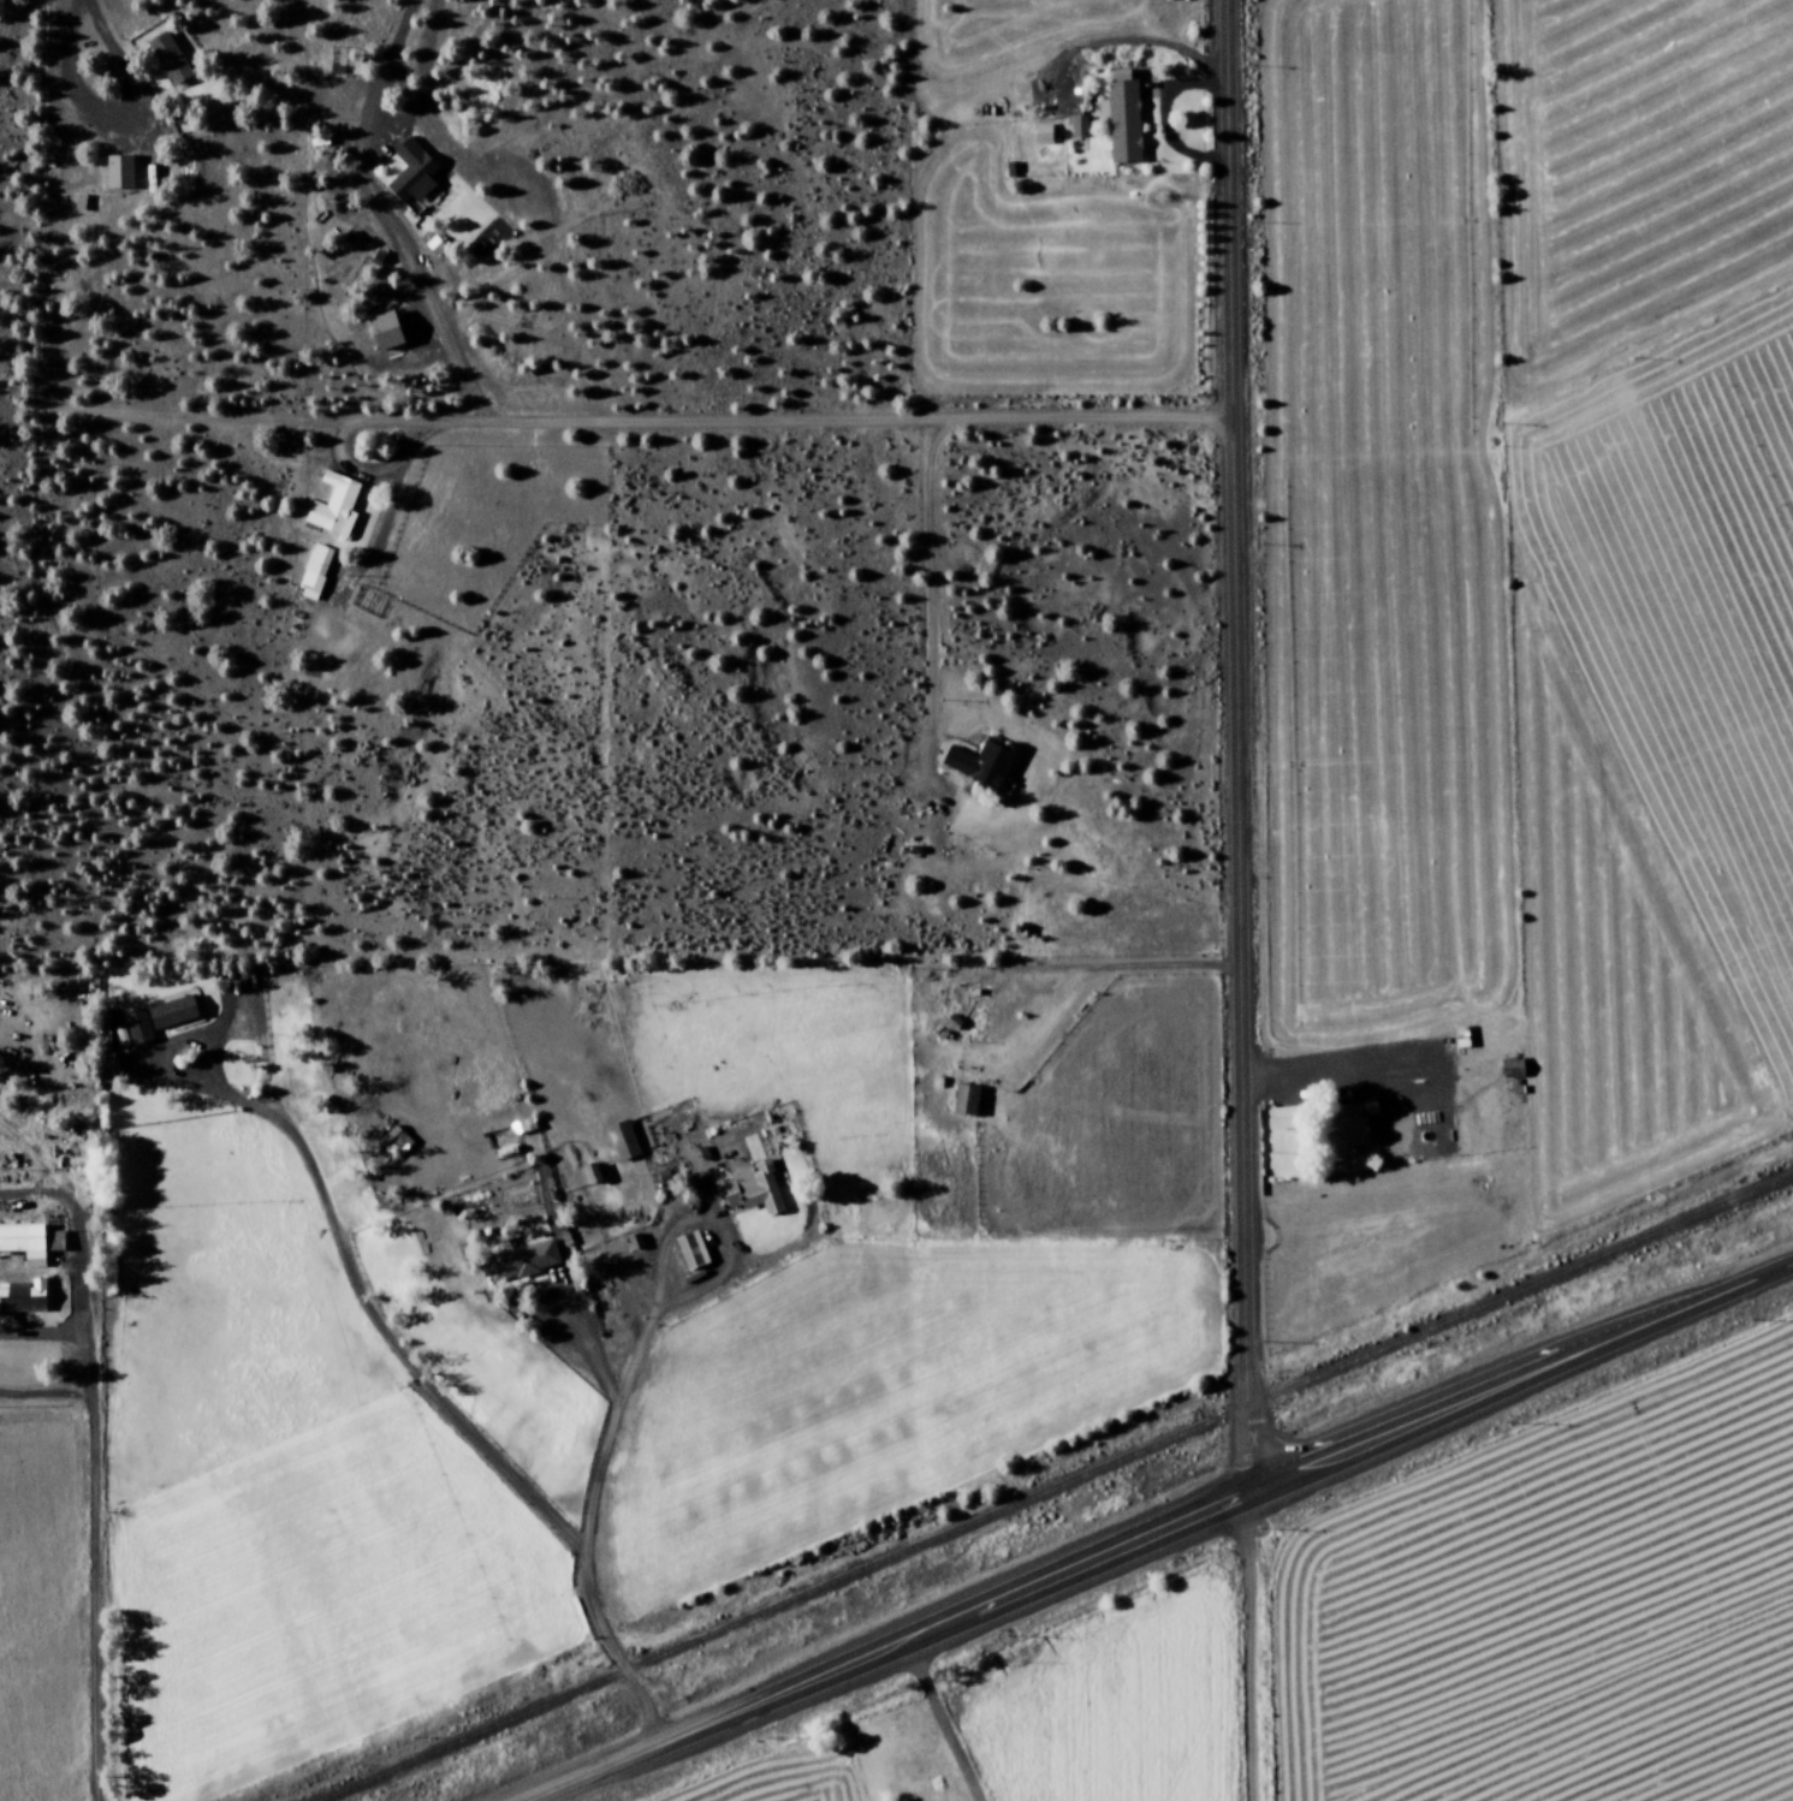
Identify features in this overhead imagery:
building: (167, 59)
building: (1122, 123)
building: (1077, 126)
building: (1040, 136)
building: (115, 173)
building: (410, 174)
building: (381, 332)
road: (807, 426)
building: (332, 509)
building: (313, 573)
road: (1239, 749)
building: (980, 765)
building: (152, 1022)
building: (963, 1101)
building: (1280, 1118)
building: (1344, 1129)
building: (621, 1141)
building: (393, 1142)
building: (588, 1173)
building: (748, 1190)
building: (32, 1242)
building: (689, 1250)
building: (520, 1261)
building: (23, 1300)
road: (380, 1327)
road: (1520, 1385)
railway: (1057, 1490)
road: (581, 1533)
road: (93, 1547)
road: (896, 1651)
road: (1247, 1651)

